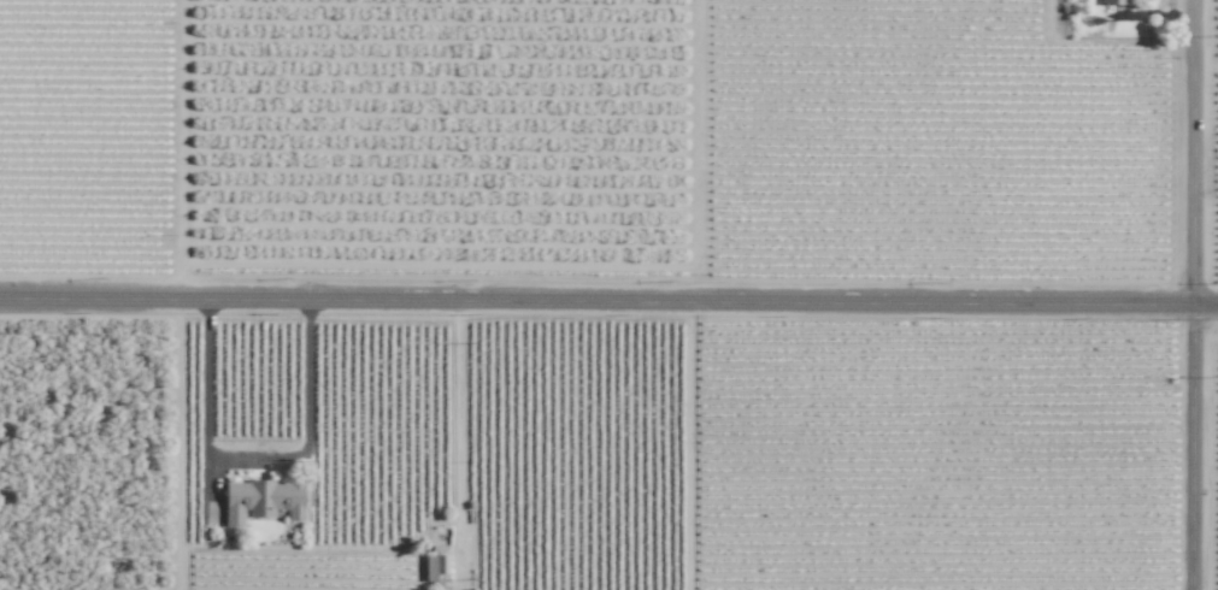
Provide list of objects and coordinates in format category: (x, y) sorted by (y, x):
building: (1112, 2)
road: (1190, 294)
road: (608, 299)
crop: (92, 435)
road: (177, 443)
road: (257, 462)
building: (261, 500)
building: (436, 566)

